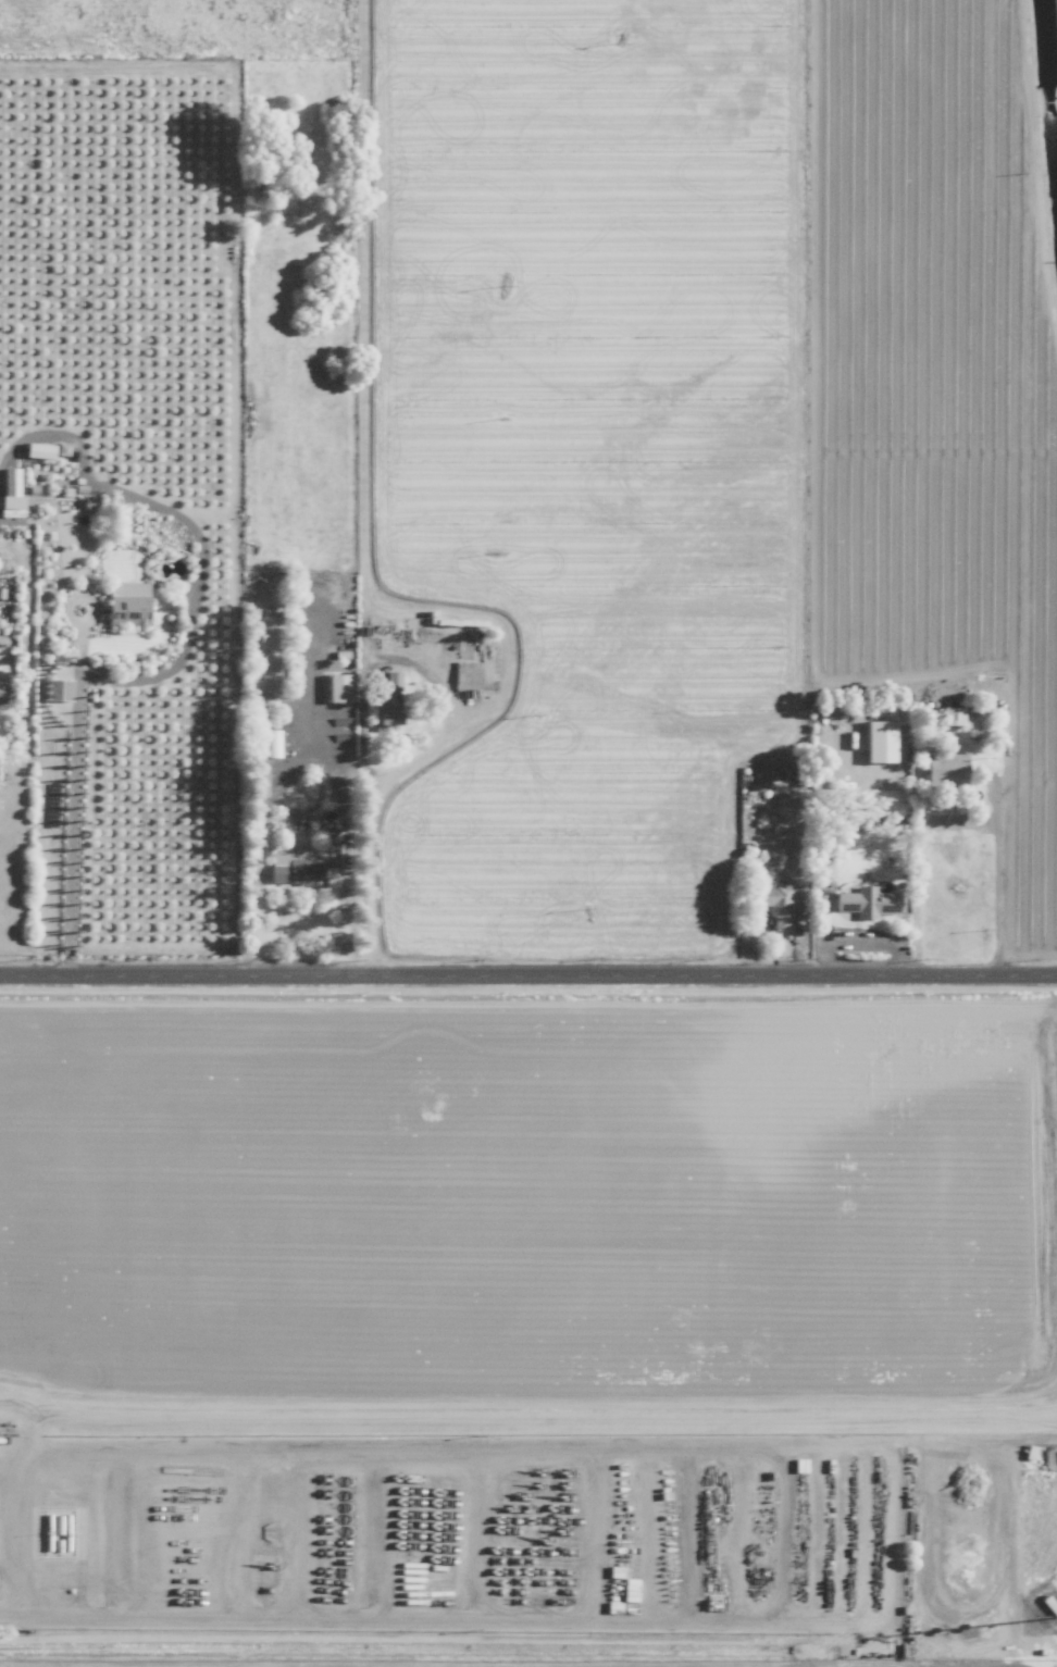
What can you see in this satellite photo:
crop: (500, 461)
building: (11, 506)
building: (126, 604)
building: (338, 687)
building: (2, 691)
building: (388, 702)
building: (952, 716)
building: (880, 741)
building: (270, 743)
road: (309, 747)
building: (945, 770)
road: (72, 794)
road: (958, 825)
building: (294, 871)
building: (774, 901)
building: (867, 901)
road: (528, 979)
road: (20, 1533)

